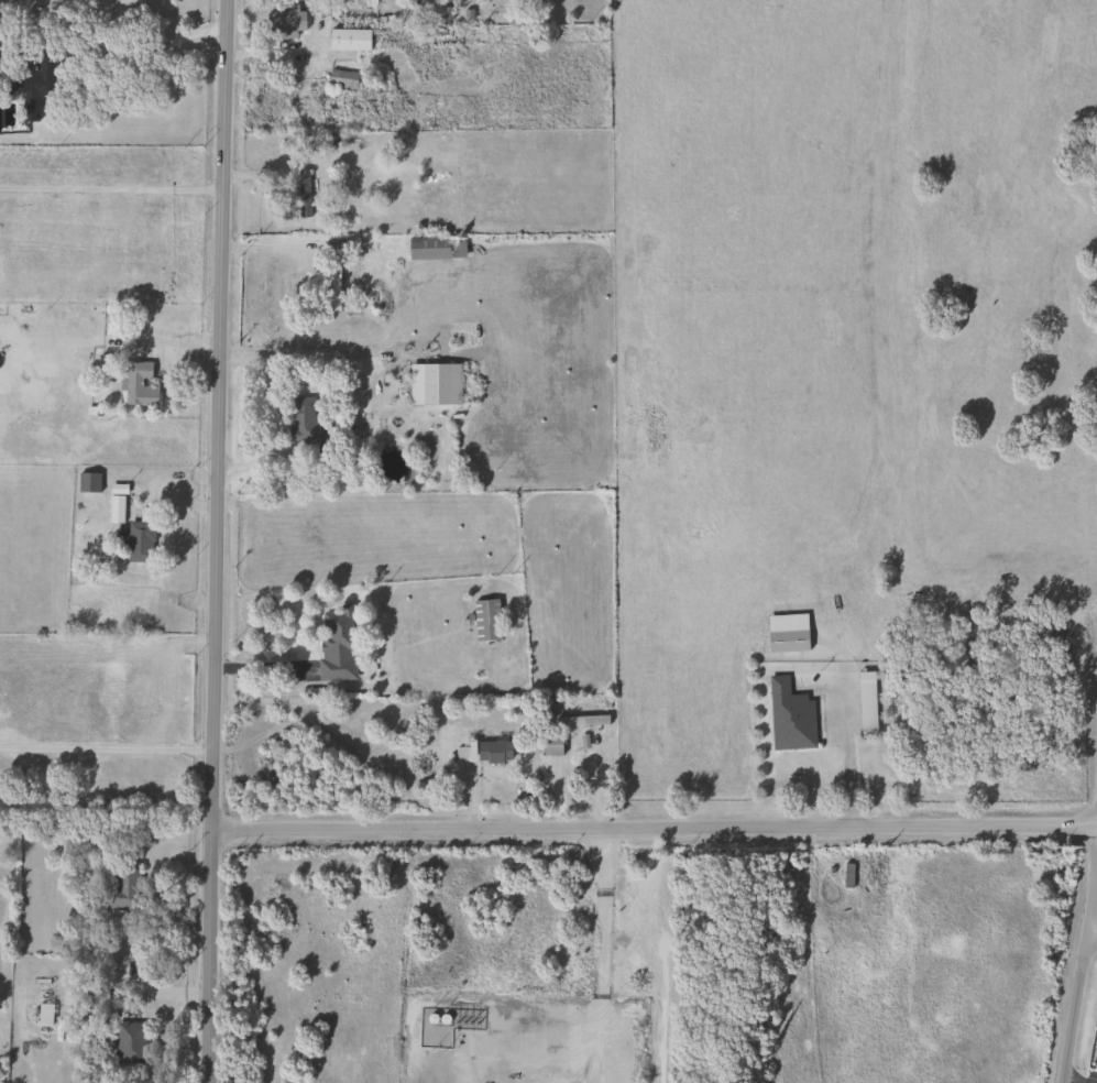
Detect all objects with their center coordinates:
building: (284, 22)
building: (348, 40)
road: (111, 41)
building: (340, 78)
building: (37, 80)
road: (97, 83)
road: (109, 188)
building: (334, 245)
building: (435, 247)
building: (332, 285)
road: (304, 355)
building: (138, 382)
building: (434, 383)
building: (305, 422)
building: (116, 508)
building: (136, 537)
road: (215, 540)
building: (485, 620)
building: (337, 628)
building: (787, 632)
road: (264, 665)
building: (866, 702)
building: (790, 716)
road: (107, 740)
building: (551, 744)
road: (849, 747)
building: (484, 751)
road: (577, 762)
road: (654, 827)
building: (122, 889)
road: (1094, 934)
road: (1082, 987)
building: (467, 1018)
building: (128, 1042)

